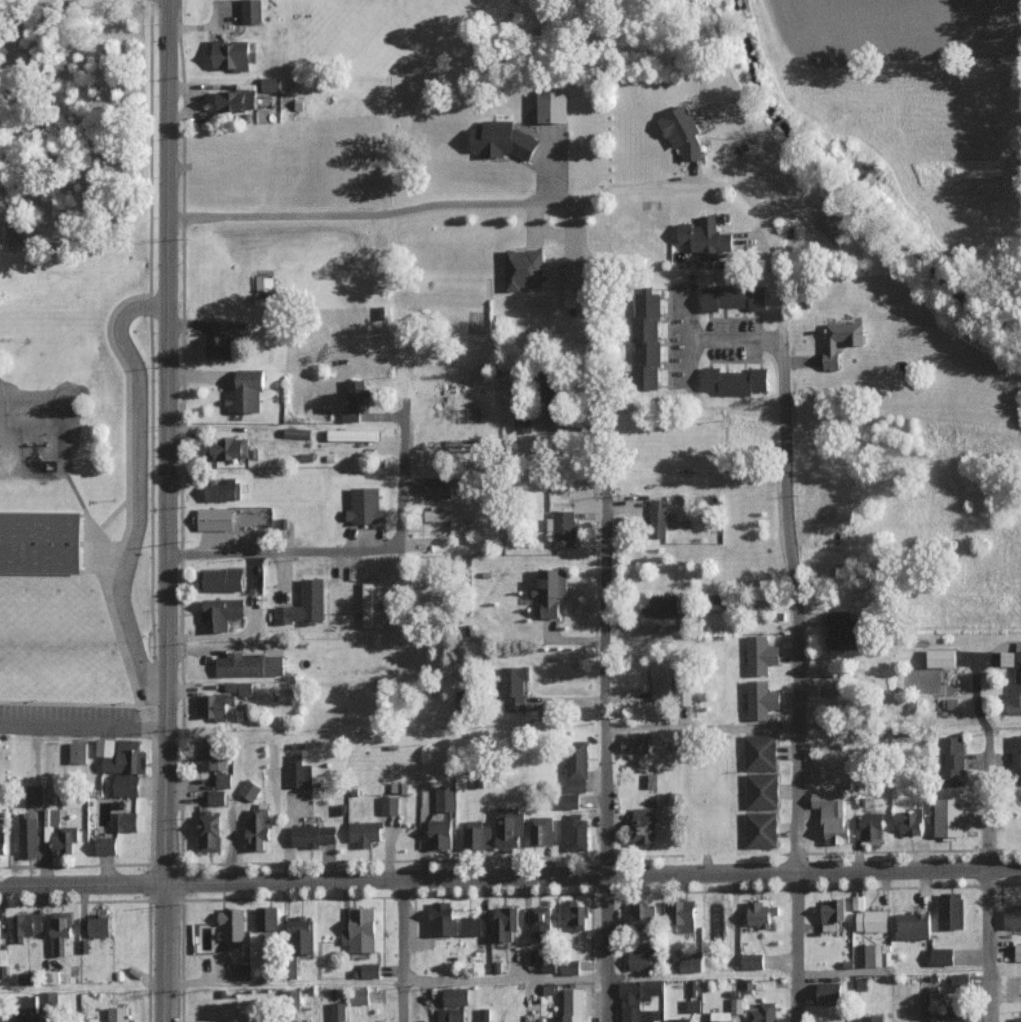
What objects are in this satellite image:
building: (252, 11)
building: (232, 55)
building: (272, 84)
building: (237, 101)
building: (554, 105)
building: (684, 132)
building: (503, 140)
road: (404, 147)
road: (502, 204)
building: (834, 231)
building: (12, 233)
road: (558, 238)
building: (707, 239)
building: (525, 269)
building: (574, 276)
building: (735, 297)
road: (283, 324)
building: (224, 328)
parking lot: (678, 335)
parking lot: (736, 339)
building: (648, 341)
road: (736, 341)
building: (220, 347)
building: (833, 349)
building: (735, 381)
building: (248, 392)
building: (355, 400)
building: (523, 421)
building: (354, 434)
building: (231, 448)
road: (135, 483)
road: (400, 485)
building: (439, 487)
building: (222, 490)
building: (366, 506)
road: (165, 510)
building: (659, 512)
building: (216, 519)
building: (454, 519)
building: (563, 528)
building: (40, 543)
road: (277, 553)
building: (222, 580)
building: (552, 591)
building: (367, 604)
building: (305, 605)
building: (222, 613)
road: (769, 613)
building: (660, 614)
building: (844, 630)
road: (216, 646)
road: (796, 647)
building: (761, 655)
building: (943, 657)
building: (249, 665)
building: (1017, 678)
building: (662, 680)
building: (515, 687)
building: (240, 688)
building: (684, 692)
building: (762, 699)
building: (213, 706)
parking lot: (69, 710)
road: (82, 722)
road: (701, 729)
building: (636, 744)
building: (106, 747)
building: (78, 752)
building: (761, 752)
building: (127, 757)
building: (1017, 758)
building: (953, 760)
road: (604, 761)
building: (272, 764)
building: (577, 765)
building: (299, 772)
building: (223, 779)
building: (127, 785)
building: (250, 789)
building: (762, 790)
building: (35, 794)
building: (217, 797)
building: (445, 798)
building: (568, 801)
building: (389, 804)
building: (833, 815)
building: (951, 817)
building: (911, 820)
building: (124, 821)
building: (644, 825)
building: (258, 827)
building: (509, 828)
building: (761, 829)
building: (541, 830)
building: (28, 832)
building: (58, 832)
building: (210, 832)
building: (364, 832)
building: (574, 832)
building: (441, 833)
building: (477, 834)
building: (313, 835)
building: (2, 841)
building: (106, 845)
road: (985, 854)
road: (510, 876)
building: (859, 902)
building: (952, 912)
building: (575, 913)
building: (681, 914)
building: (761, 914)
building: (831, 914)
building: (1013, 916)
building: (267, 918)
building: (444, 918)
building: (541, 920)
building: (873, 920)
building: (506, 921)
building: (233, 923)
building: (27, 925)
building: (99, 925)
building: (914, 925)
building: (476, 926)
building: (361, 929)
building: (60, 931)
building: (302, 934)
building: (0, 936)
road: (400, 951)
building: (1018, 952)
building: (872, 955)
building: (942, 955)
building: (641, 960)
building: (752, 961)
building: (690, 964)
building: (548, 966)
building: (571, 967)
building: (371, 970)
building: (243, 972)
road: (502, 978)
road: (280, 982)
building: (961, 983)
building: (830, 993)
building: (360, 996)
building: (456, 996)
building: (637, 999)
building: (49, 1001)
building: (30, 1002)
building: (925, 1004)
building: (576, 1005)
building: (693, 1005)
building: (737, 1005)
building: (338, 1011)
building: (764, 1012)
building: (118, 1014)
building: (452, 1014)
building: (484, 1014)
building: (956, 1014)
building: (723, 1016)
building: (869, 1018)
building: (1017, 1019)
building: (210, 1020)
building: (680, 1020)

